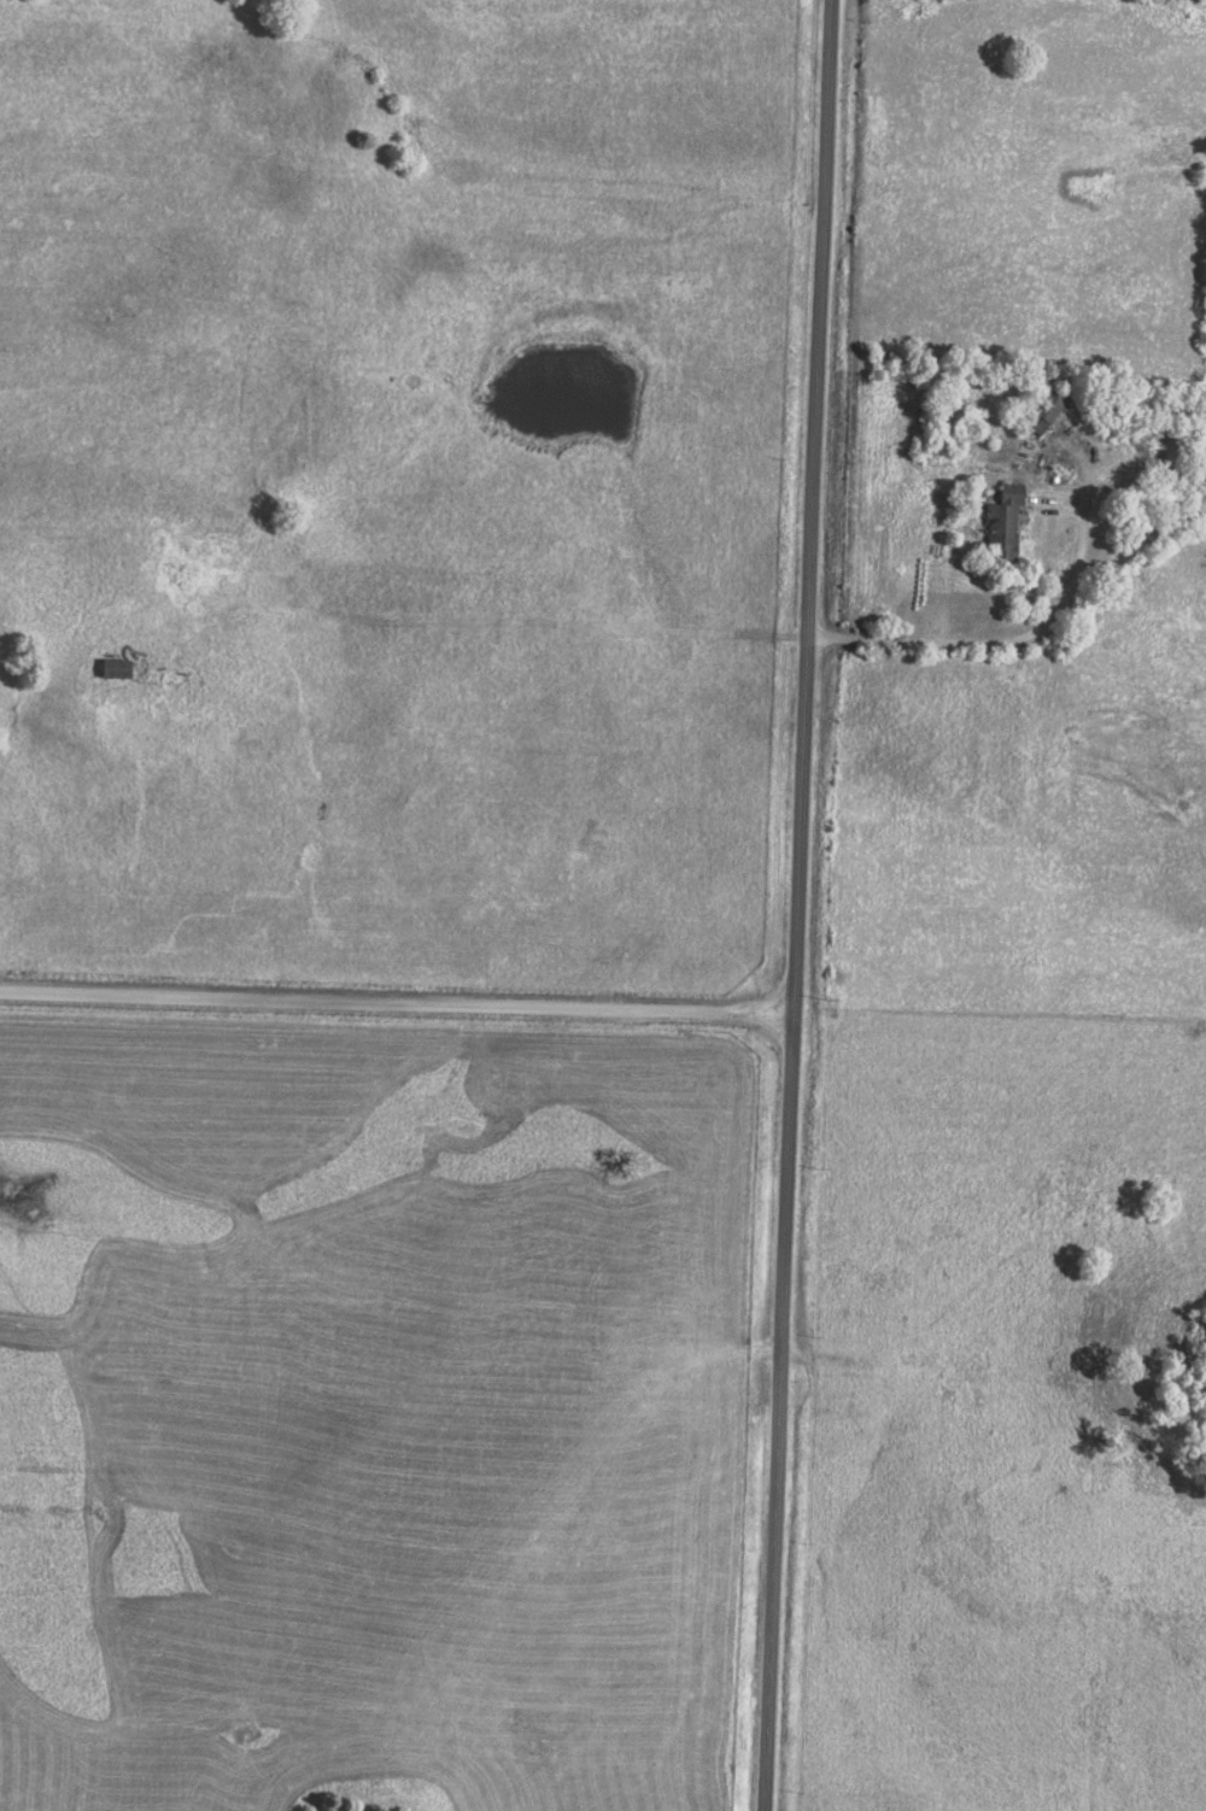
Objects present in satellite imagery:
building: (1038, 409)
building: (999, 522)
building: (111, 669)
road: (798, 905)
road: (397, 1002)

